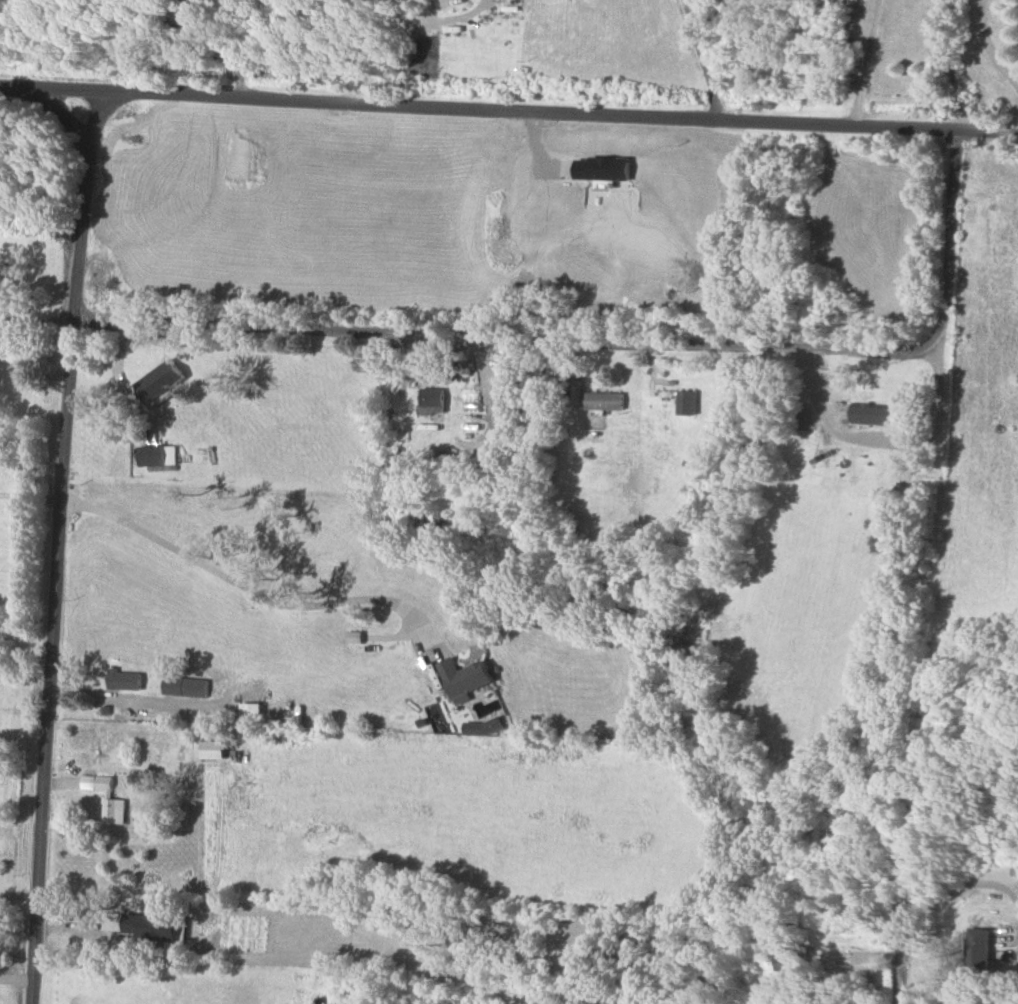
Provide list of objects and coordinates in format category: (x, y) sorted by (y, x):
road: (392, 46)
road: (989, 47)
crop: (603, 52)
road: (225, 54)
road: (701, 58)
road: (863, 62)
road: (508, 109)
building: (603, 168)
road: (36, 317)
road: (610, 336)
road: (475, 362)
building: (159, 382)
building: (433, 399)
building: (606, 401)
building: (471, 402)
building: (687, 402)
building: (877, 415)
road: (884, 441)
building: (157, 455)
road: (30, 500)
road: (58, 544)
crop: (22, 552)
crop: (808, 583)
road: (241, 591)
building: (464, 679)
building: (125, 680)
building: (186, 687)
road: (113, 697)
building: (213, 749)
building: (107, 798)
crop: (456, 816)
road: (959, 892)
road: (19, 894)
building: (979, 949)
building: (792, 961)
road: (902, 966)
road: (16, 977)
crop: (9, 995)

